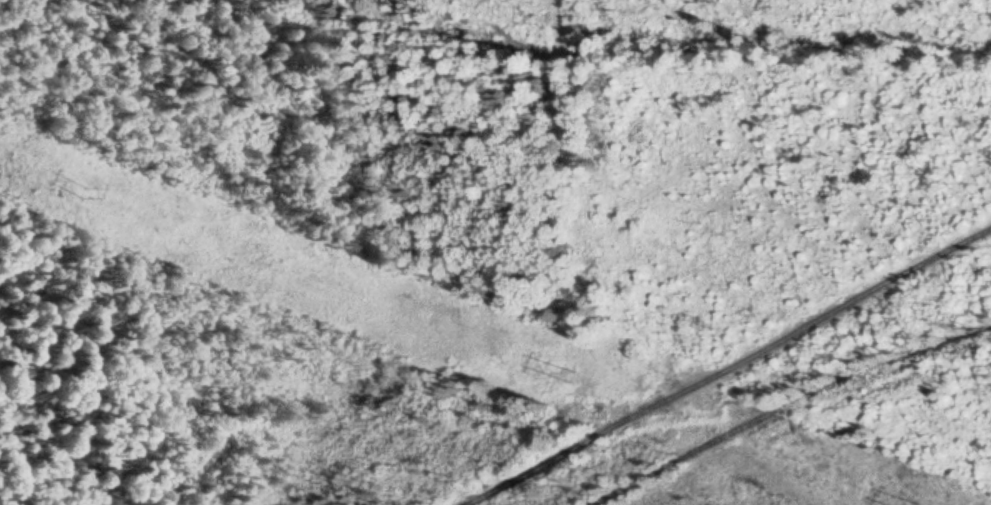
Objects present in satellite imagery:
power tower: (402, 311)
road: (732, 368)
railway: (812, 417)

